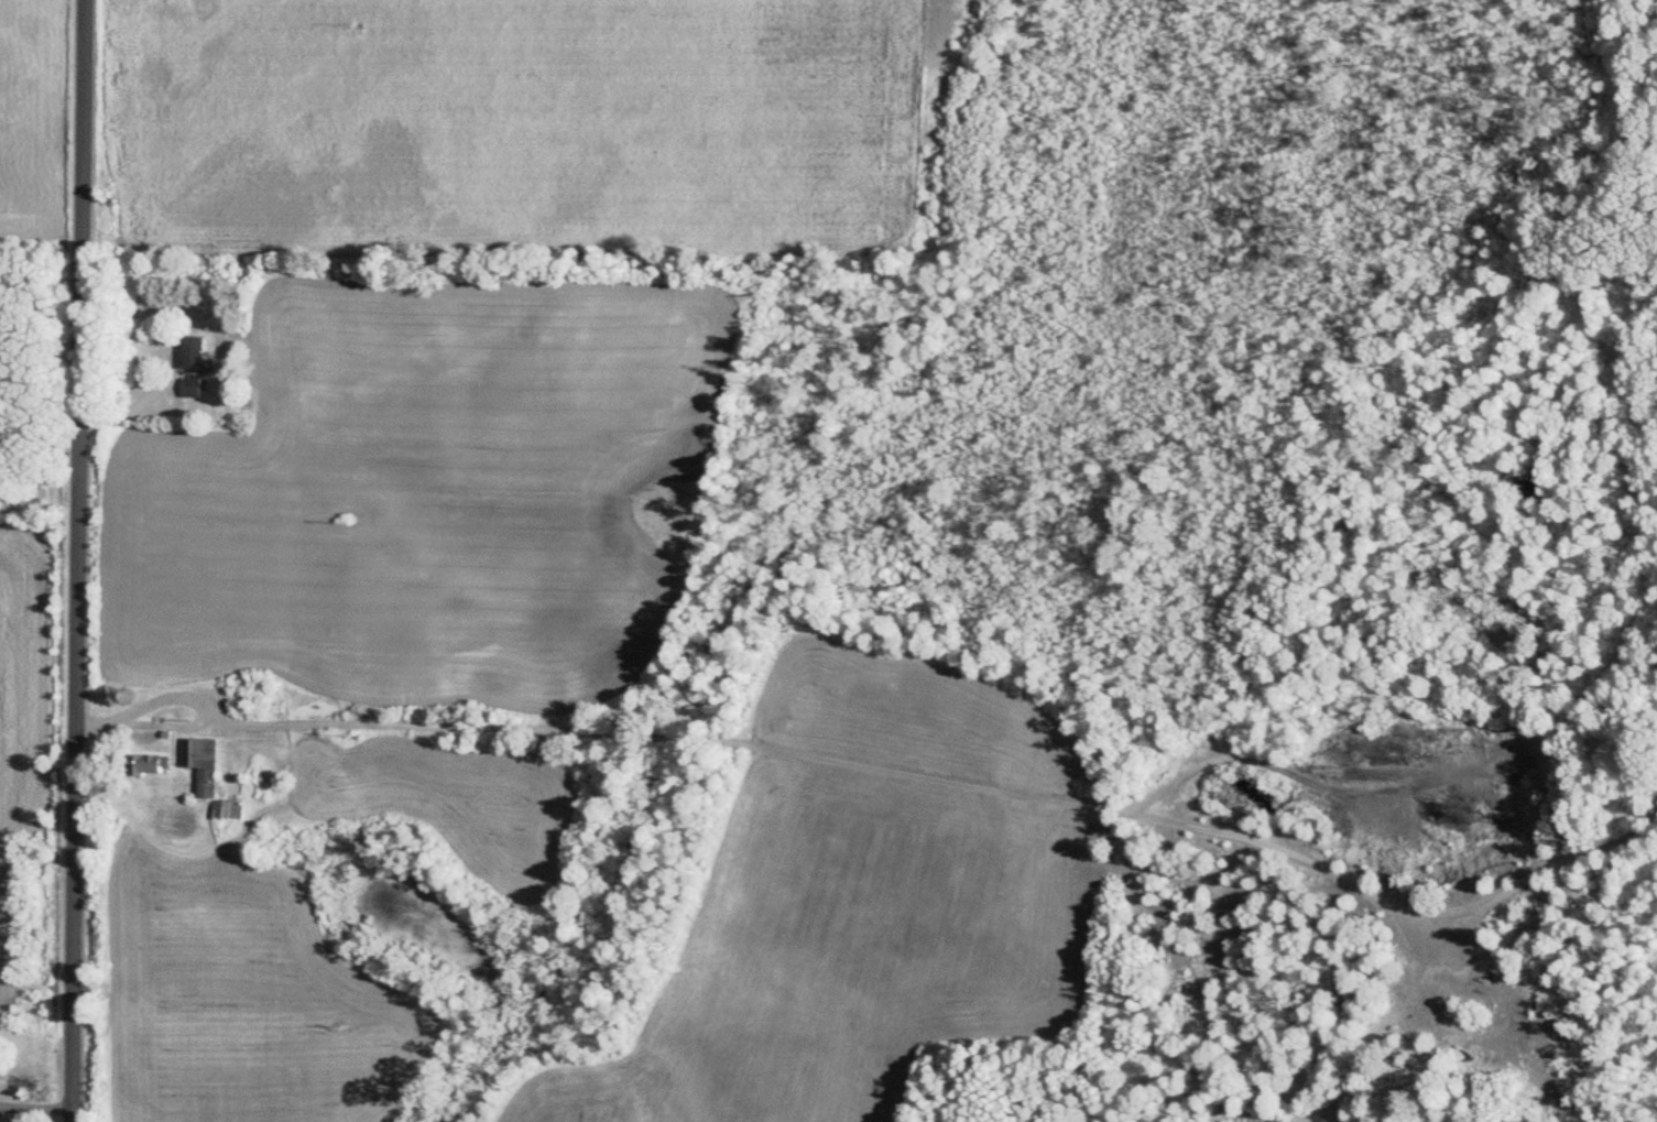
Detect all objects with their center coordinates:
road: (73, 560)
road: (221, 712)
building: (207, 776)
road: (32, 1107)

